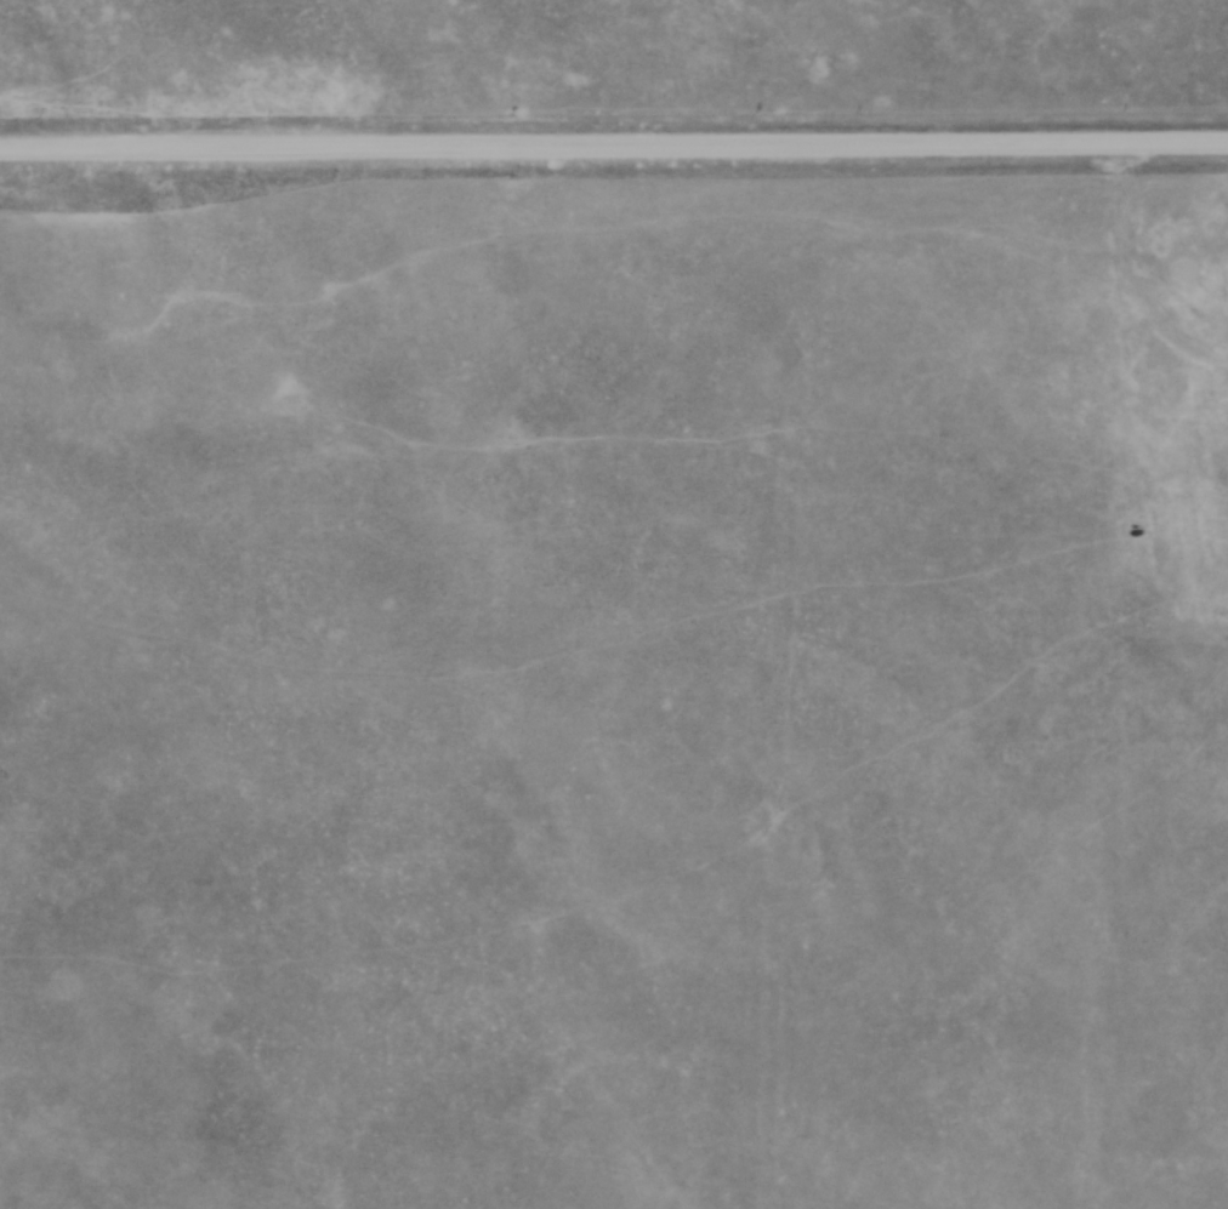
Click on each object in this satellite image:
road: (614, 147)

